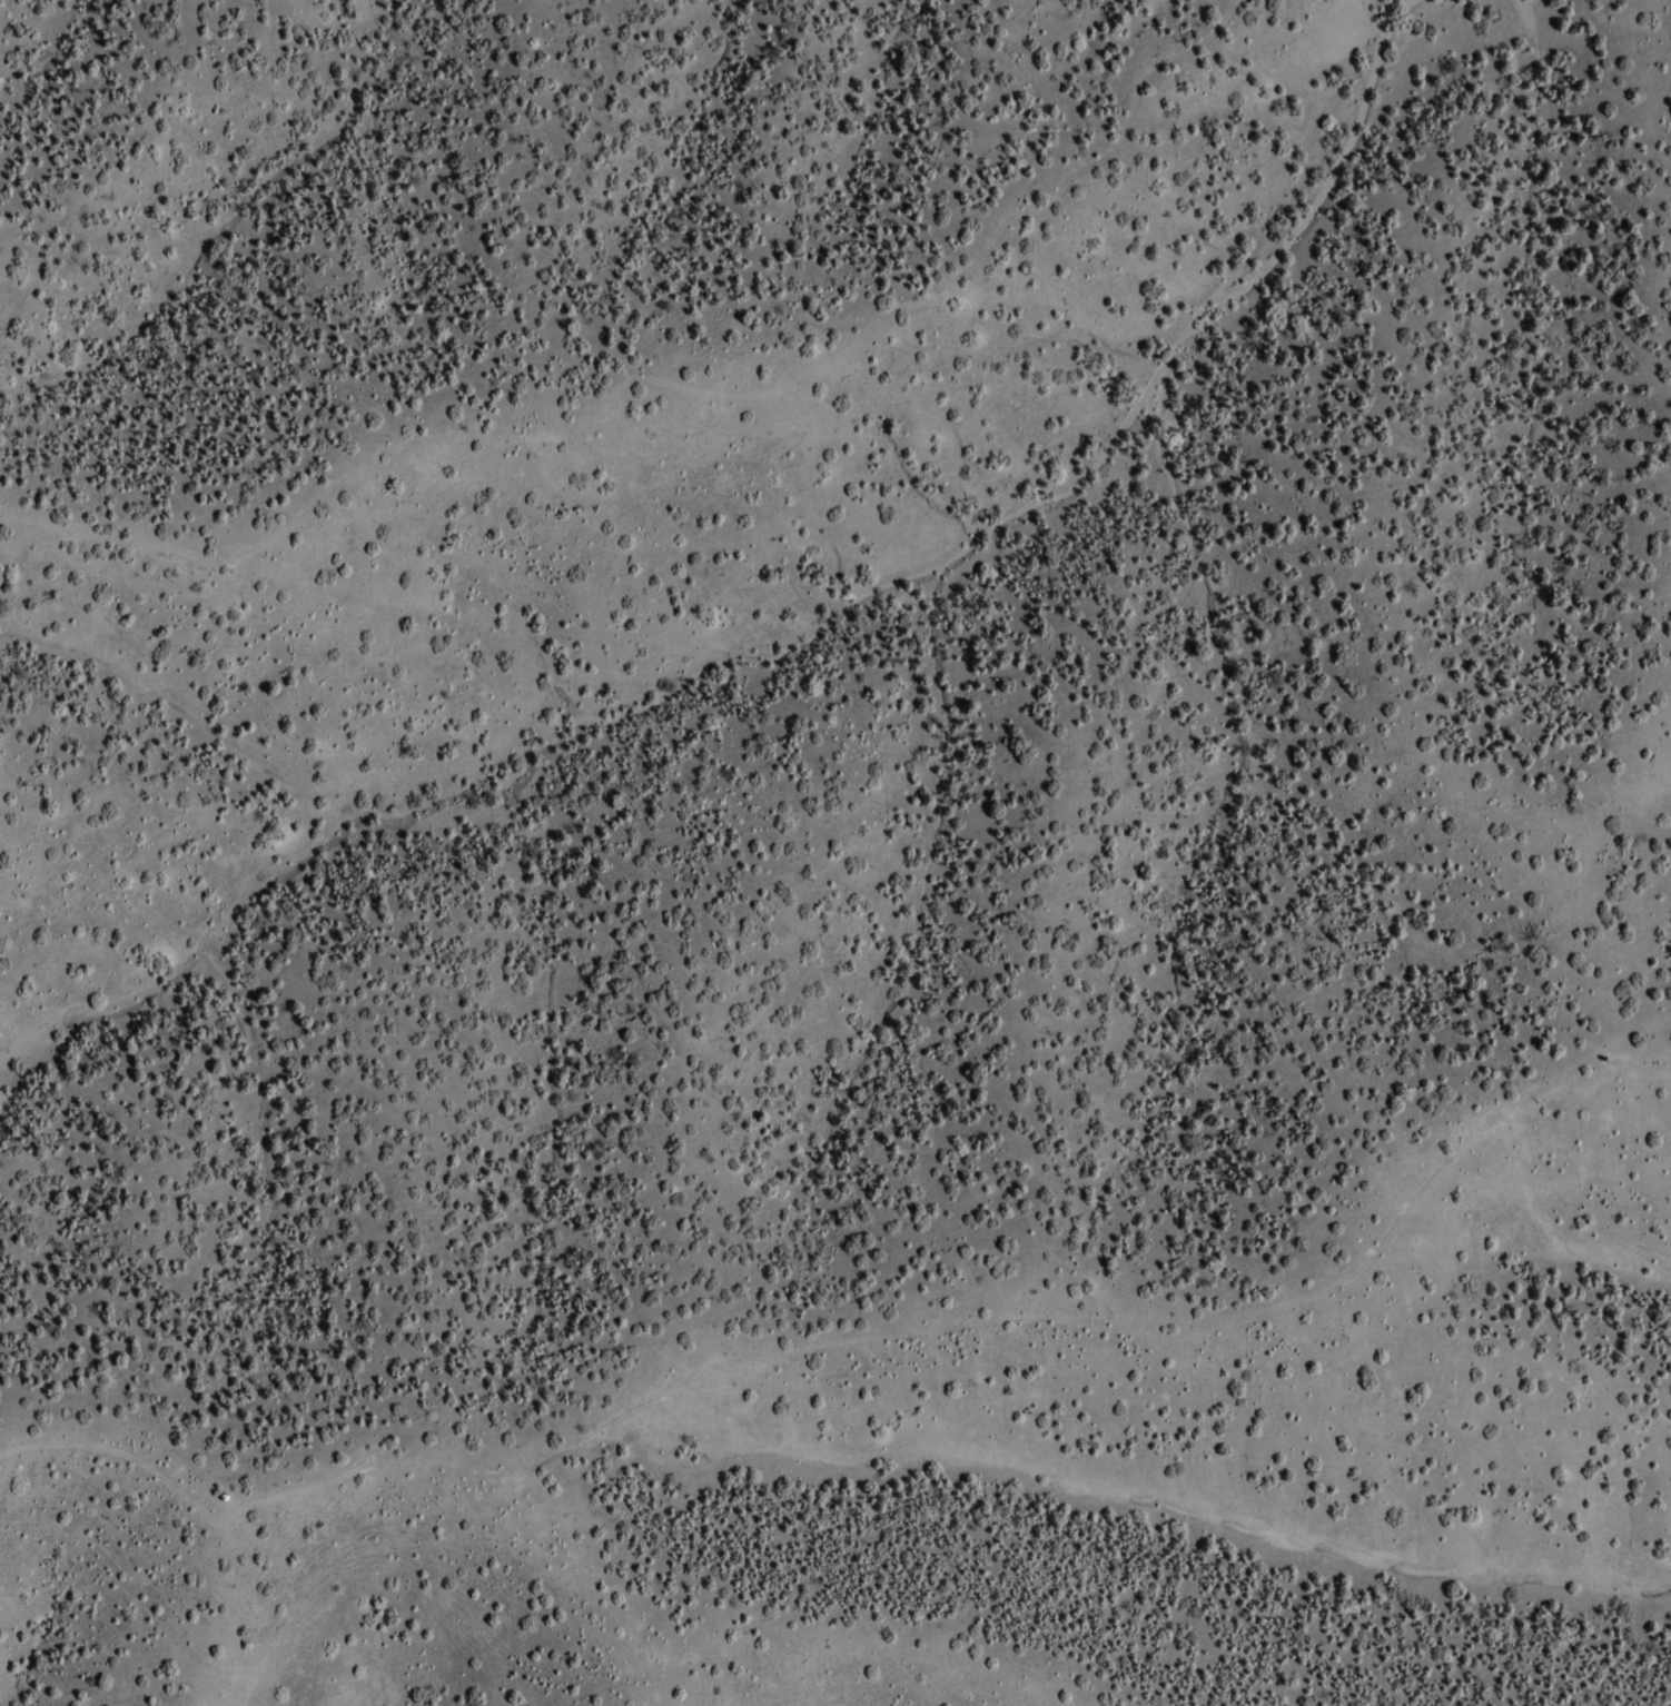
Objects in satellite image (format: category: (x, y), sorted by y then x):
road: (663, 386)
road: (850, 1345)

